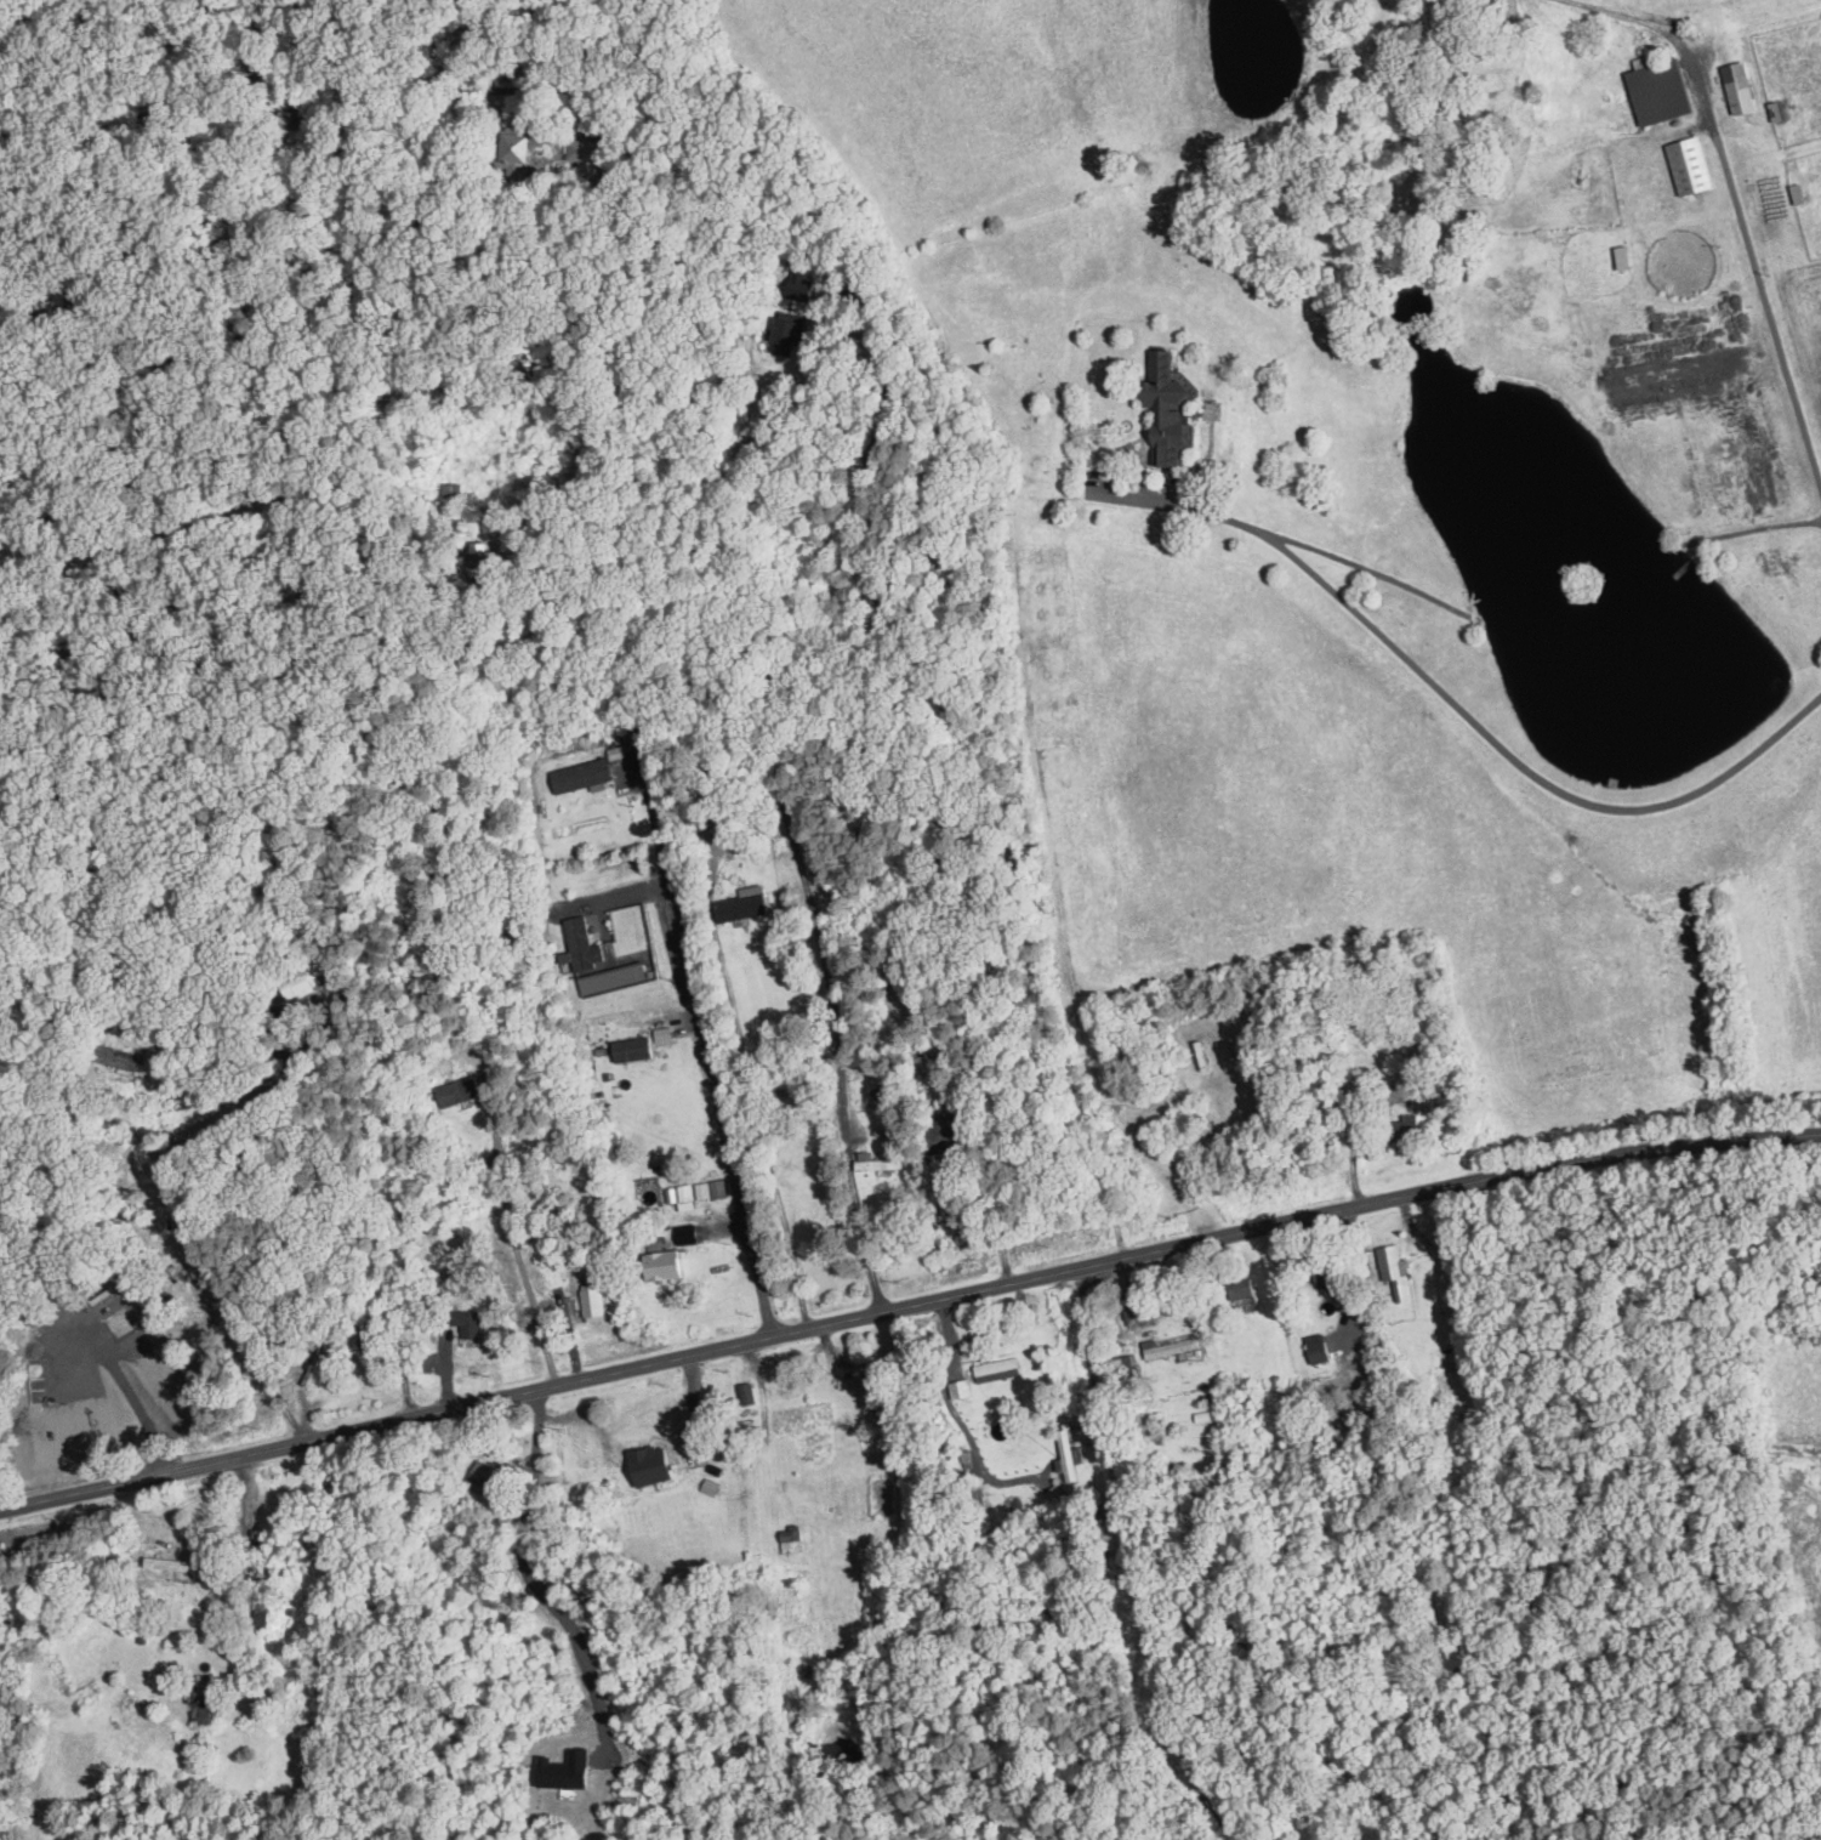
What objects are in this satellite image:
road: (399, 56)
building: (1740, 86)
building: (1662, 91)
building: (520, 143)
building: (584, 152)
building: (1691, 164)
road: (1754, 260)
building: (787, 334)
building: (1170, 405)
road: (1109, 465)
building: (482, 560)
road: (249, 721)
road: (1479, 723)
building: (581, 774)
road: (776, 777)
building: (742, 904)
building: (587, 949)
building: (303, 982)
building: (662, 1033)
road: (705, 1046)
building: (632, 1049)
building: (459, 1090)
road: (243, 1106)
building: (877, 1160)
building: (704, 1188)
building: (682, 1194)
road: (992, 1209)
building: (687, 1232)
road: (513, 1240)
road: (1356, 1244)
building: (667, 1263)
building: (1395, 1267)
road: (217, 1273)
road: (1172, 1300)
road: (907, 1306)
building: (471, 1325)
building: (1168, 1346)
building: (1319, 1346)
building: (998, 1368)
building: (749, 1392)
road: (142, 1414)
building: (804, 1416)
road: (958, 1416)
building: (1069, 1456)
road: (252, 1516)
building: (798, 1537)
building: (172, 1562)
road: (1129, 1562)
building: (203, 1716)

